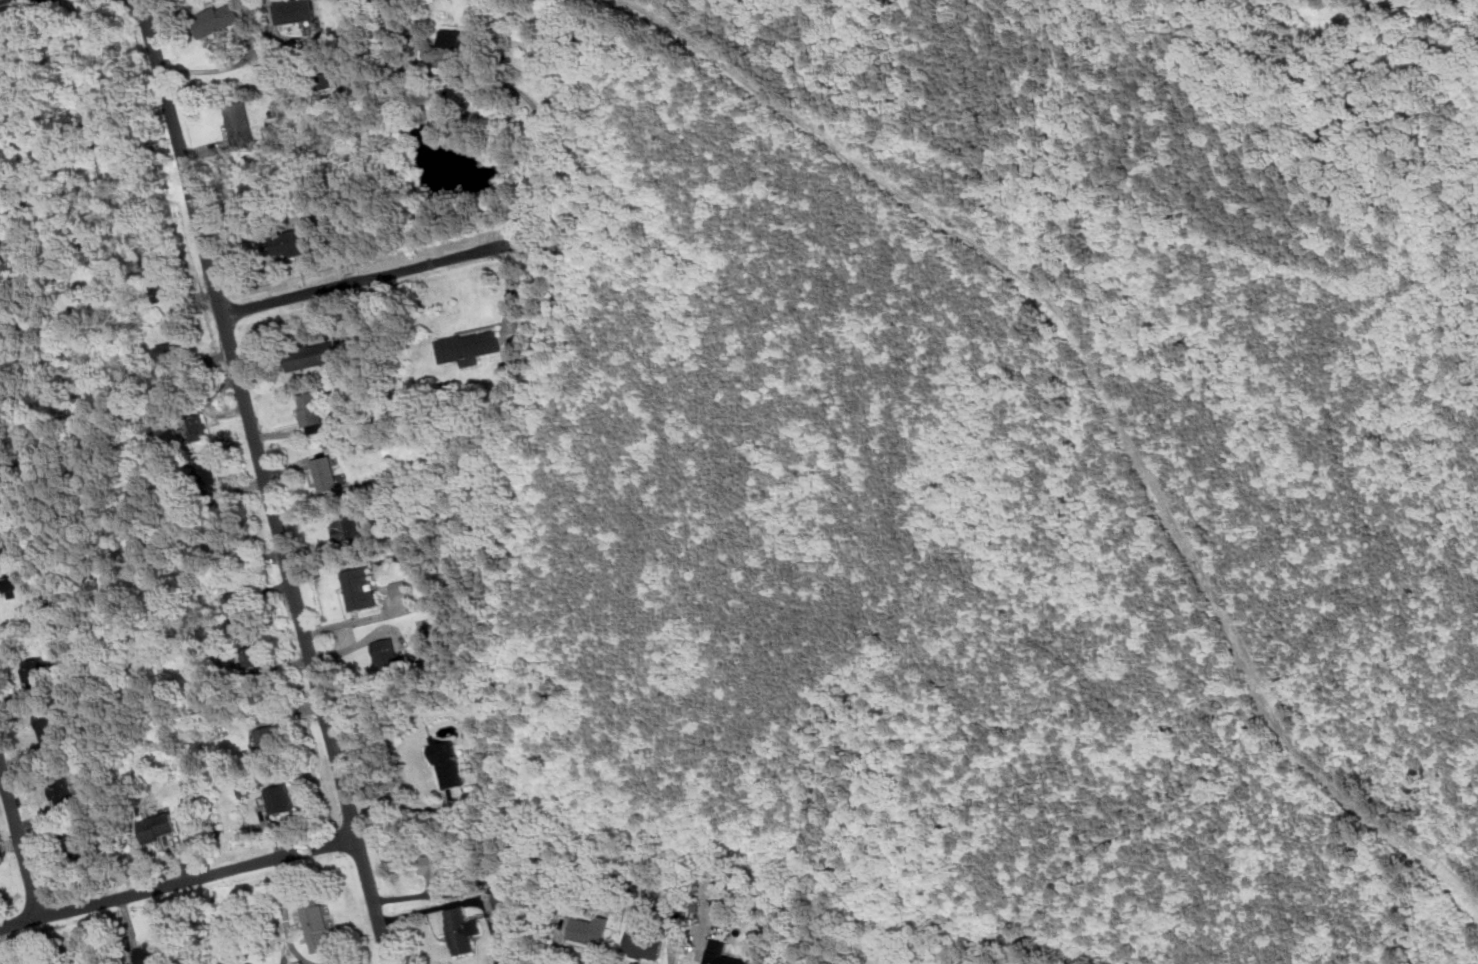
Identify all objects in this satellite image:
road: (10, 2)
building: (296, 11)
building: (217, 19)
building: (446, 48)
building: (330, 79)
building: (241, 123)
road: (543, 128)
building: (297, 242)
road: (371, 277)
building: (160, 283)
road: (510, 291)
building: (468, 347)
building: (173, 350)
building: (310, 355)
building: (311, 411)
building: (195, 428)
building: (210, 471)
building: (327, 475)
road: (267, 481)
building: (348, 526)
building: (222, 540)
building: (7, 544)
building: (19, 585)
building: (360, 587)
building: (399, 587)
building: (239, 610)
building: (387, 655)
building: (256, 656)
building: (36, 671)
building: (48, 725)
building: (267, 738)
building: (447, 762)
building: (61, 791)
building: (280, 798)
road: (399, 803)
building: (158, 826)
road: (21, 839)
building: (81, 846)
building: (436, 869)
road: (178, 882)
building: (504, 899)
building: (728, 908)
building: (318, 924)
building: (590, 929)
building: (459, 930)
building: (644, 942)
building: (150, 952)
building: (722, 959)
road: (1023, 963)

